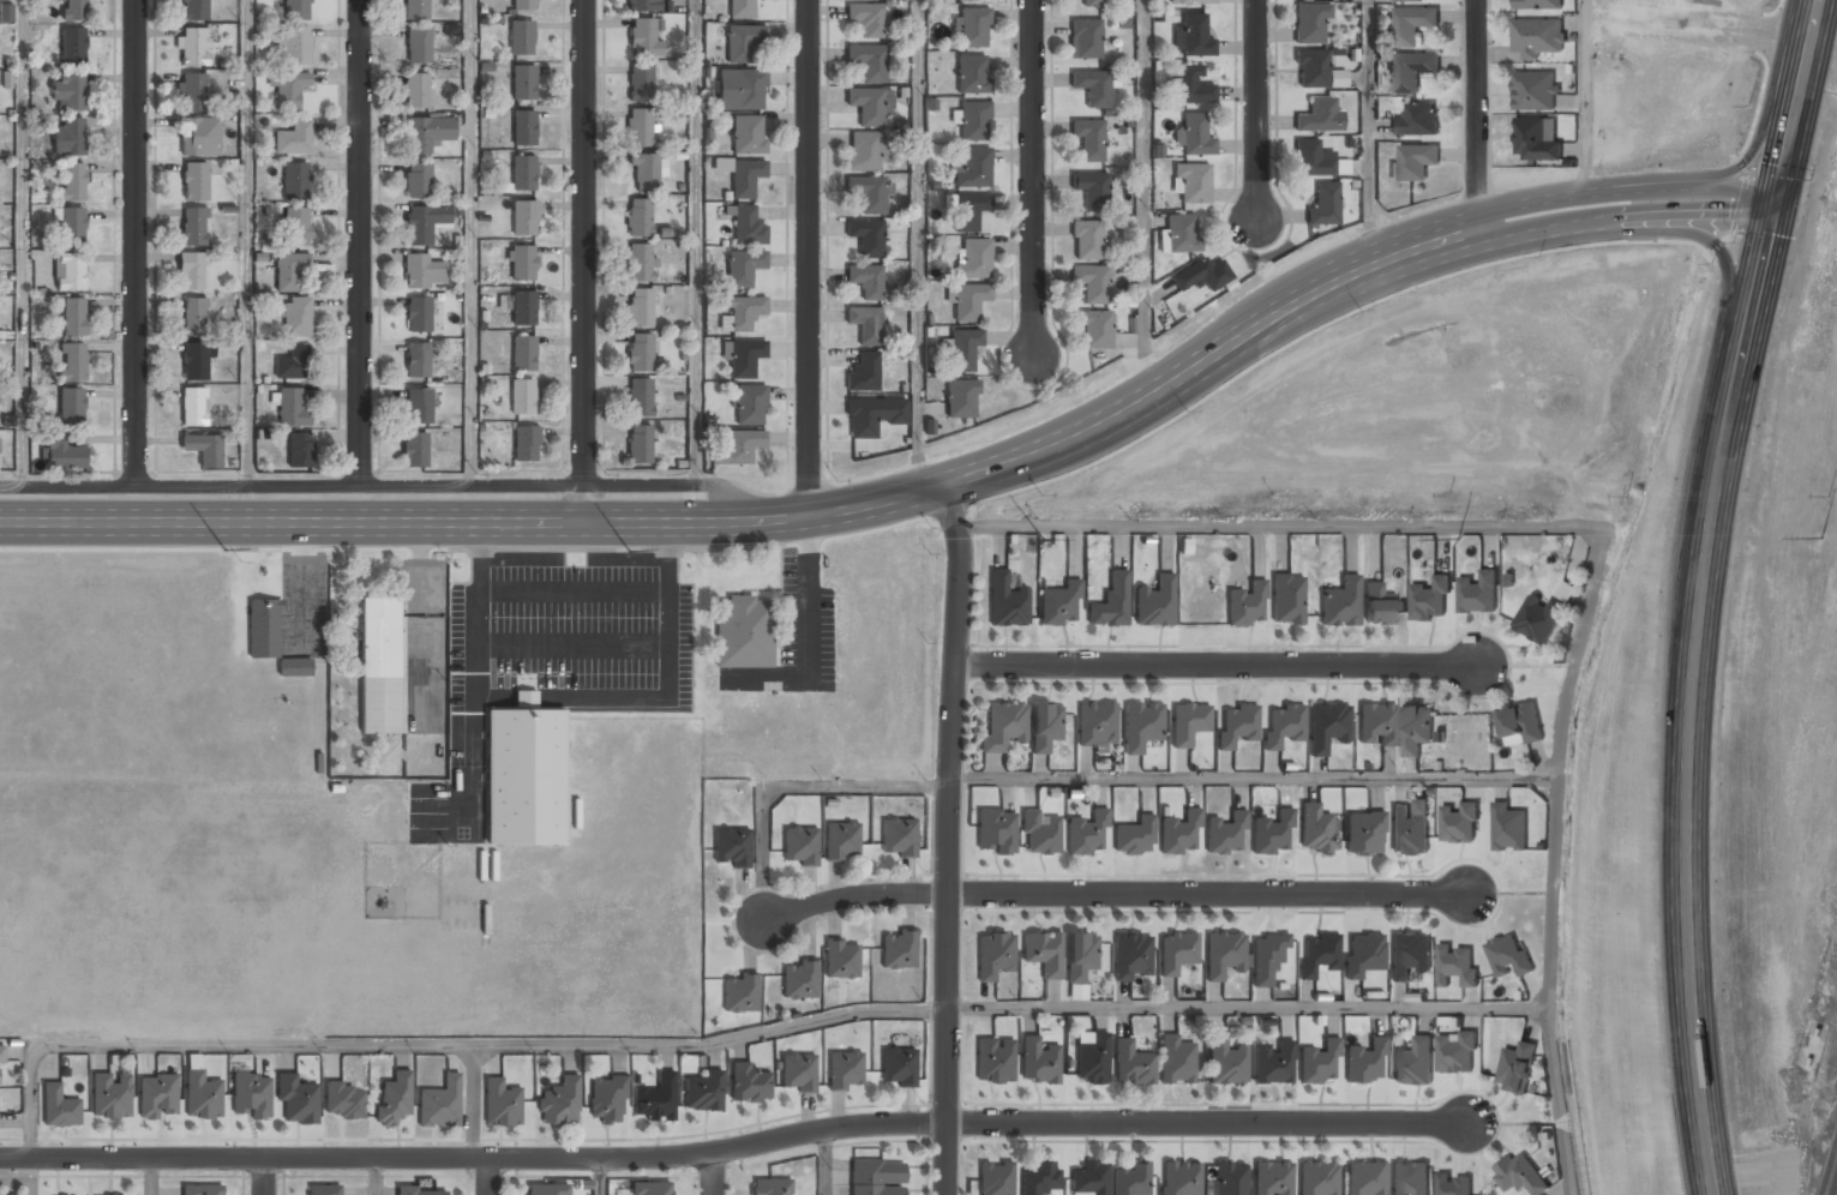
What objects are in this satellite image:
building: (1, 0)
building: (961, 0)
building: (1406, 0)
building: (1194, 1)
building: (526, 4)
building: (1093, 4)
building: (1537, 5)
building: (646, 6)
building: (73, 10)
building: (296, 10)
building: (416, 10)
building: (740, 10)
building: (194, 11)
building: (6, 13)
building: (865, 19)
building: (1310, 23)
building: (1411, 24)
building: (973, 28)
building: (521, 36)
building: (1191, 36)
building: (1535, 37)
building: (643, 38)
building: (1085, 40)
building: (743, 43)
building: (294, 46)
building: (72, 47)
building: (192, 47)
building: (418, 47)
building: (868, 62)
building: (1311, 68)
building: (1411, 71)
building: (971, 74)
building: (523, 82)
building: (640, 83)
building: (1189, 86)
building: (1093, 89)
building: (289, 90)
building: (740, 90)
building: (192, 91)
building: (415, 91)
building: (1533, 91)
building: (67, 94)
road: (1585, 96)
building: (870, 106)
road: (1795, 108)
road: (1256, 110)
road: (1476, 115)
building: (1316, 116)
road: (1761, 119)
building: (1416, 120)
building: (973, 121)
building: (524, 127)
building: (640, 128)
building: (427, 134)
building: (748, 134)
road: (1368, 134)
building: (1193, 136)
building: (199, 137)
building: (67, 138)
building: (294, 138)
building: (1088, 139)
building: (1533, 140)
building: (864, 152)
building: (1315, 160)
building: (1415, 162)
building: (971, 168)
building: (523, 172)
building: (646, 172)
building: (742, 175)
road: (1032, 175)
building: (73, 181)
building: (194, 181)
building: (295, 181)
building: (418, 181)
building: (1190, 182)
traffic signals: (1779, 188)
road: (1623, 190)
building: (1092, 191)
building: (869, 193)
road: (1141, 199)
building: (1323, 204)
building: (968, 211)
building: (524, 217)
traffic signals: (1772, 217)
building: (638, 218)
building: (425, 223)
building: (745, 223)
road: (1622, 223)
building: (71, 226)
building: (296, 226)
building: (194, 227)
building: (1181, 234)
building: (866, 238)
building: (1086, 241)
road: (20, 244)
road: (137, 244)
road: (245, 244)
road: (360, 244)
road: (469, 244)
road: (694, 244)
road: (1712, 244)
road: (917, 246)
road: (808, 258)
building: (972, 259)
road: (583, 262)
building: (522, 263)
building: (640, 263)
building: (743, 266)
building: (289, 270)
building: (70, 271)
building: (191, 271)
building: (422, 272)
building: (1196, 277)
building: (866, 282)
building: (1092, 283)
building: (967, 301)
building: (522, 308)
building: (640, 308)
building: (740, 312)
building: (418, 313)
building: (73, 317)
building: (193, 317)
building: (296, 317)
building: (865, 325)
building: (1094, 330)
building: (962, 349)
building: (640, 353)
building: (523, 354)
building: (742, 356)
building: (416, 360)
building: (72, 361)
building: (194, 362)
building: (292, 364)
building: (863, 374)
building: (522, 397)
building: (640, 398)
building: (960, 398)
building: (749, 406)
building: (418, 407)
building: (71, 408)
building: (193, 408)
building: (290, 409)
building: (872, 416)
building: (526, 443)
building: (640, 445)
building: (737, 448)
building: (204, 449)
building: (299, 450)
building: (414, 450)
building: (66, 455)
road: (385, 487)
road: (1710, 496)
road: (770, 521)
power tower: (1459, 538)
power tower: (1812, 538)
power tower: (1046, 539)
road: (1597, 545)
power tower: (270, 551)
power tower: (635, 551)
building: (1478, 593)
building: (1430, 599)
building: (1286, 600)
building: (1005, 602)
building: (1111, 602)
building: (1154, 603)
building: (1339, 603)
building: (1061, 605)
building: (1245, 605)
building: (1377, 607)
building: (1543, 615)
building: (263, 627)
building: (743, 632)
road: (1218, 665)
building: (379, 666)
building: (294, 668)
building: (1189, 722)
building: (1097, 723)
building: (1521, 723)
building: (1377, 725)
building: (1045, 726)
building: (1141, 726)
building: (1237, 726)
building: (1284, 726)
building: (1327, 726)
building: (1416, 727)
building: (996, 731)
building: (524, 774)
road: (1254, 779)
road: (792, 788)
building: (1459, 823)
building: (1508, 828)
building: (996, 830)
building: (1315, 830)
building: (1409, 830)
building: (1040, 831)
building: (1086, 833)
building: (1179, 833)
building: (1225, 833)
building: (1364, 833)
building: (1272, 834)
building: (898, 836)
building: (1135, 836)
road: (950, 837)
building: (841, 841)
building: (799, 846)
building: (731, 848)
road: (1117, 896)
building: (898, 950)
building: (1040, 954)
building: (1176, 954)
building: (1364, 954)
building: (1410, 954)
building: (1131, 955)
building: (1224, 955)
building: (1317, 955)
building: (992, 956)
building: (1080, 956)
building: (1508, 956)
building: (841, 961)
building: (1266, 962)
building: (1458, 966)
building: (799, 981)
road: (1689, 989)
building: (1077, 991)
building: (740, 993)
road: (1249, 1008)
road: (437, 1044)
building: (1458, 1052)
building: (1, 1056)
building: (993, 1061)
building: (1038, 1061)
building: (1176, 1062)
building: (1225, 1062)
building: (1365, 1062)
building: (1413, 1062)
building: (1272, 1063)
building: (1319, 1063)
building: (1131, 1065)
building: (898, 1067)
building: (1089, 1067)
building: (1517, 1068)
building: (845, 1070)
building: (798, 1074)
building: (749, 1085)
building: (702, 1092)
building: (110, 1097)
building: (157, 1097)
building: (200, 1097)
building: (251, 1097)
building: (394, 1099)
building: (655, 1099)
road: (473, 1100)
building: (607, 1100)
building: (296, 1101)
building: (343, 1103)
building: (559, 1104)
building: (440, 1105)
building: (502, 1105)
building: (59, 1109)
road: (737, 1148)
road: (826, 1161)
railway: (1829, 1169)
road: (715, 1173)
road: (601, 1175)
building: (1519, 1175)
road: (266, 1176)
road: (376, 1176)
road: (490, 1176)
road: (149, 1177)
building: (875, 1177)
building: (995, 1178)
building: (1179, 1178)
building: (1364, 1178)
building: (1089, 1179)
building: (1229, 1179)
building: (1272, 1179)
building: (1316, 1179)
building: (1410, 1179)
building: (1037, 1181)
building: (1130, 1181)
building: (1455, 1184)
building: (770, 1187)
railway: (1835, 1188)
building: (649, 1189)
building: (200, 1190)
building: (319, 1190)
building: (547, 1190)
building: (420, 1191)

